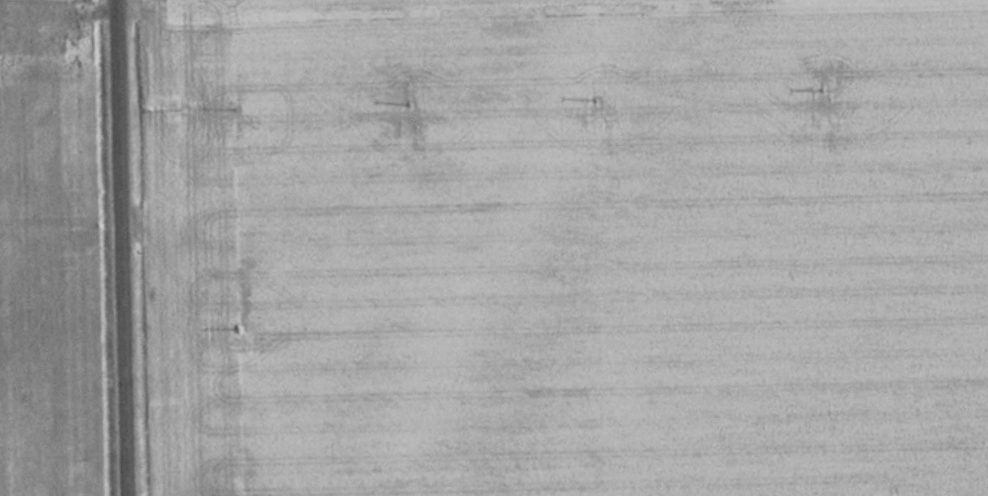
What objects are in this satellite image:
road: (132, 248)

